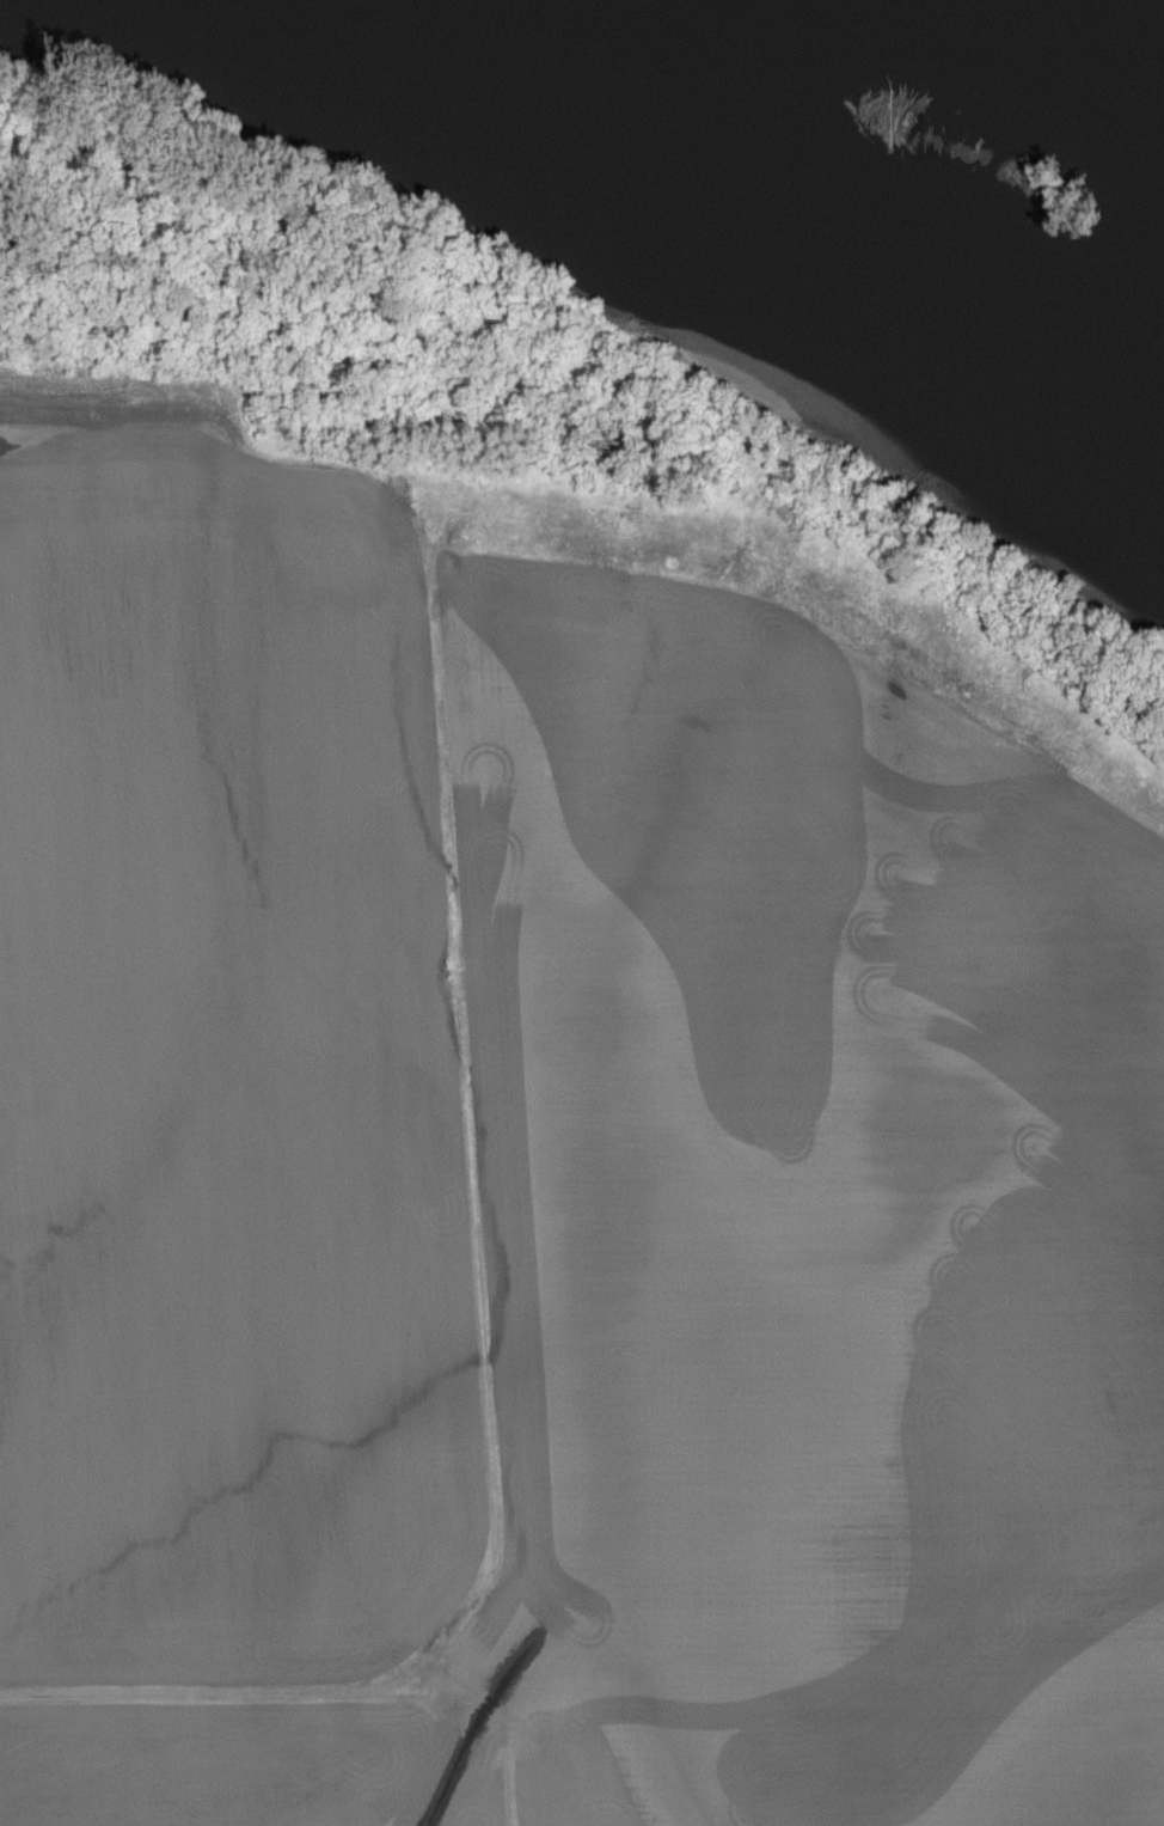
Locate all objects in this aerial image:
river: (1131, 22)

